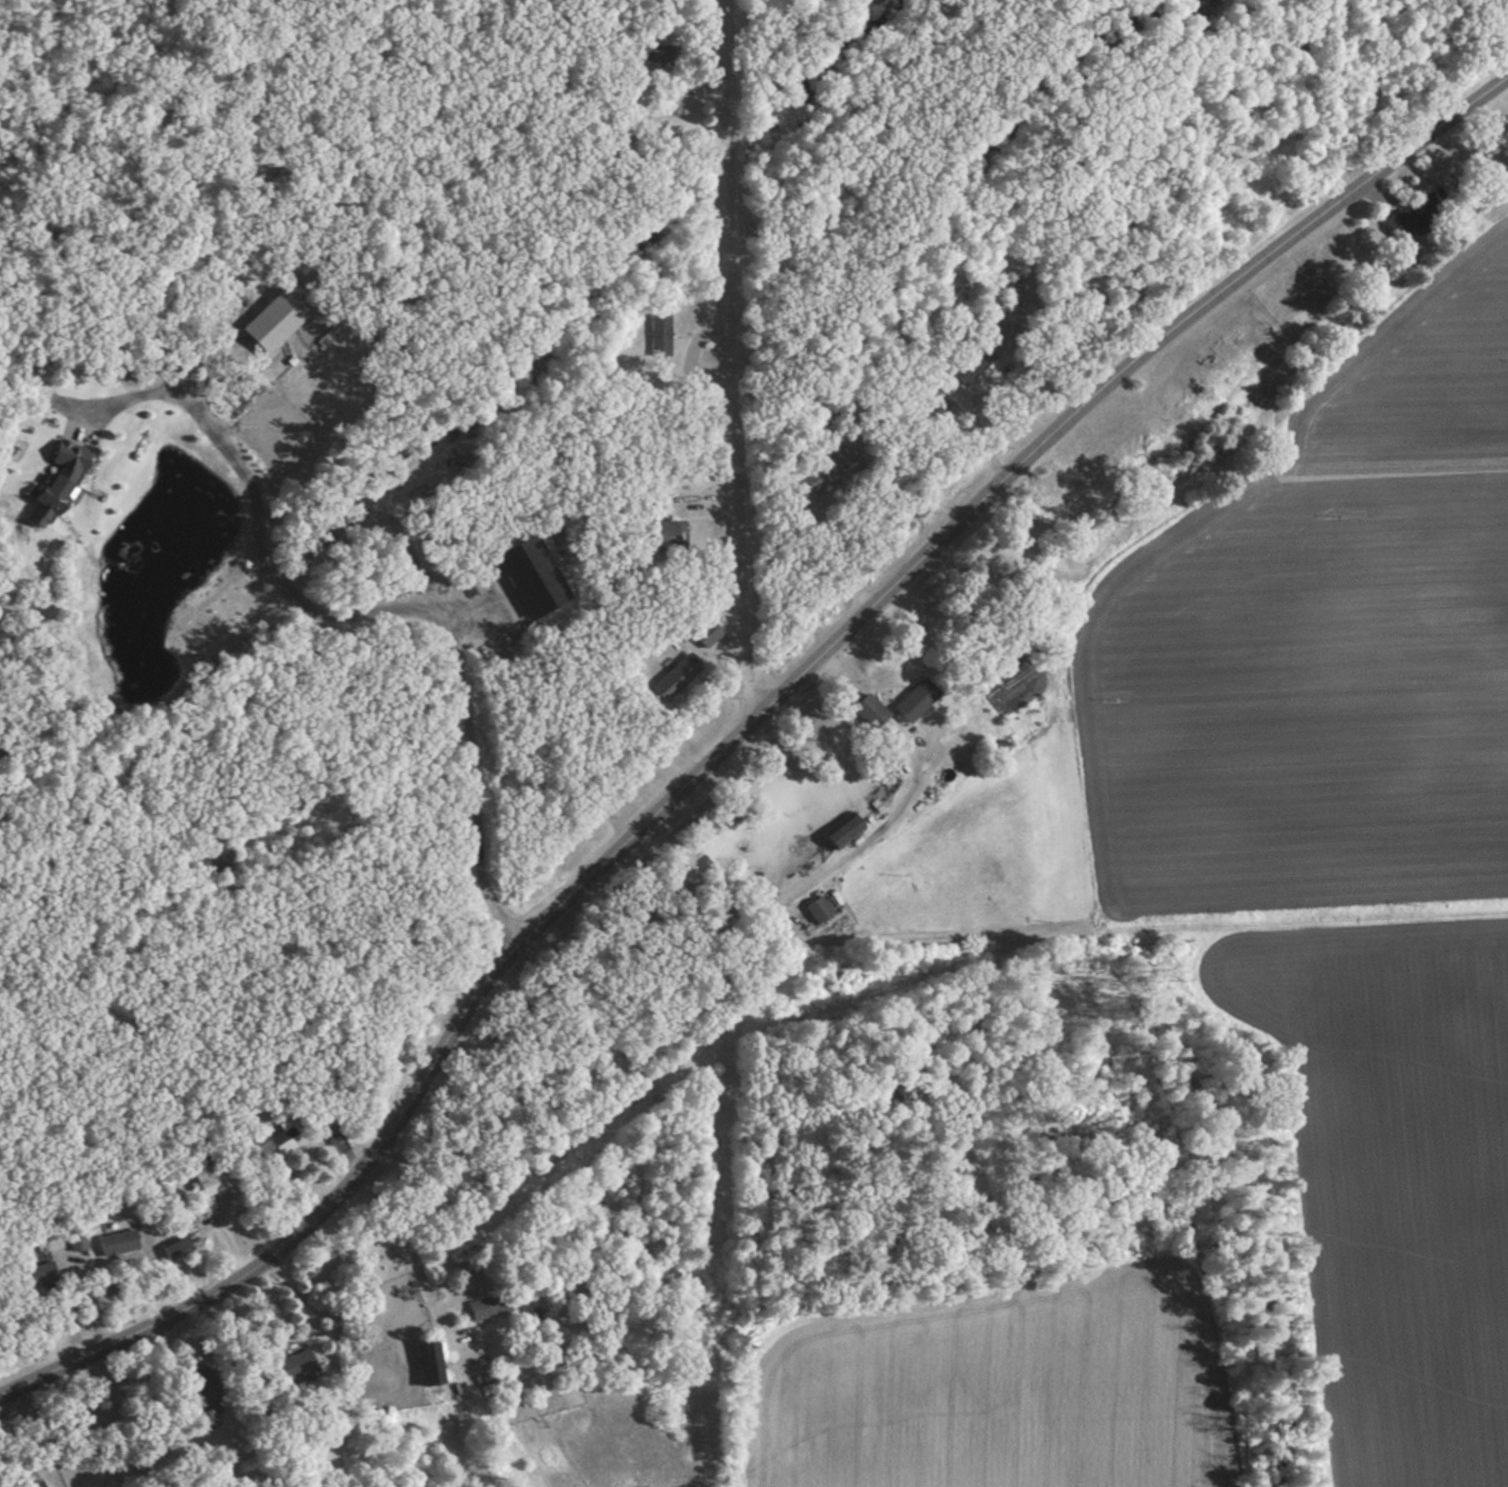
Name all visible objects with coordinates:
building: (659, 54)
building: (1414, 216)
building: (660, 334)
road: (737, 359)
building: (970, 379)
building: (844, 466)
building: (807, 485)
building: (56, 490)
building: (672, 536)
building: (709, 635)
building: (679, 678)
building: (916, 701)
building: (871, 712)
road: (740, 731)
building: (845, 833)
building: (284, 1139)
building: (265, 1146)
building: (208, 1181)
building: (79, 1241)
building: (118, 1243)
building: (175, 1250)
road: (416, 1263)
building: (40, 1275)
building: (490, 1307)
building: (431, 1362)
building: (299, 1367)
building: (209, 1388)

